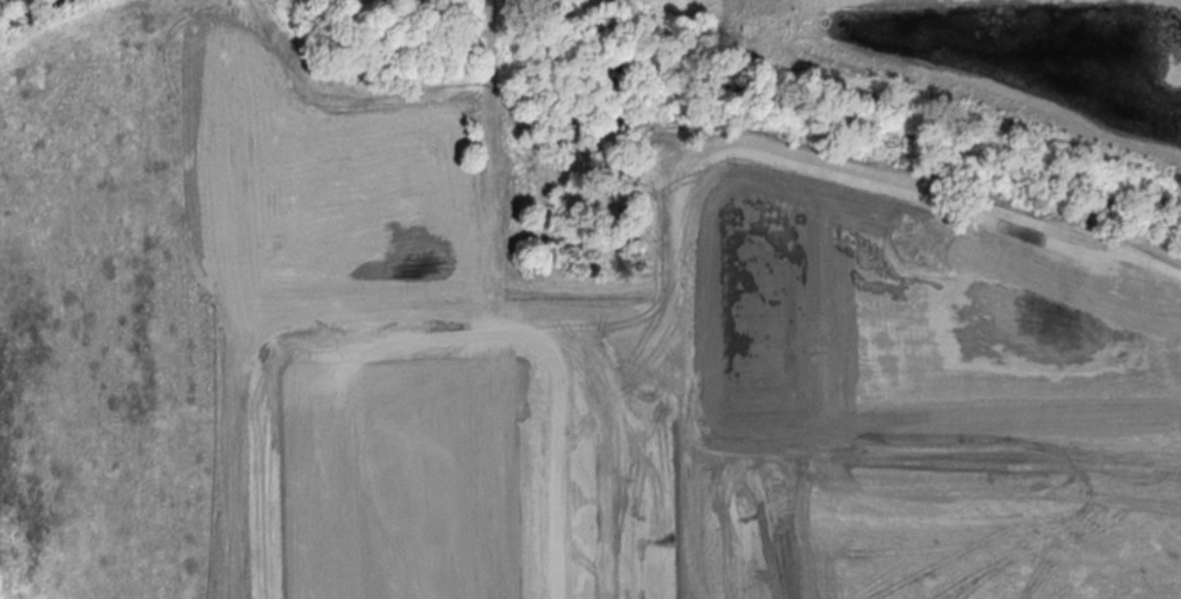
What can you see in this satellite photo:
crop: (181, 272)
building: (401, 479)

